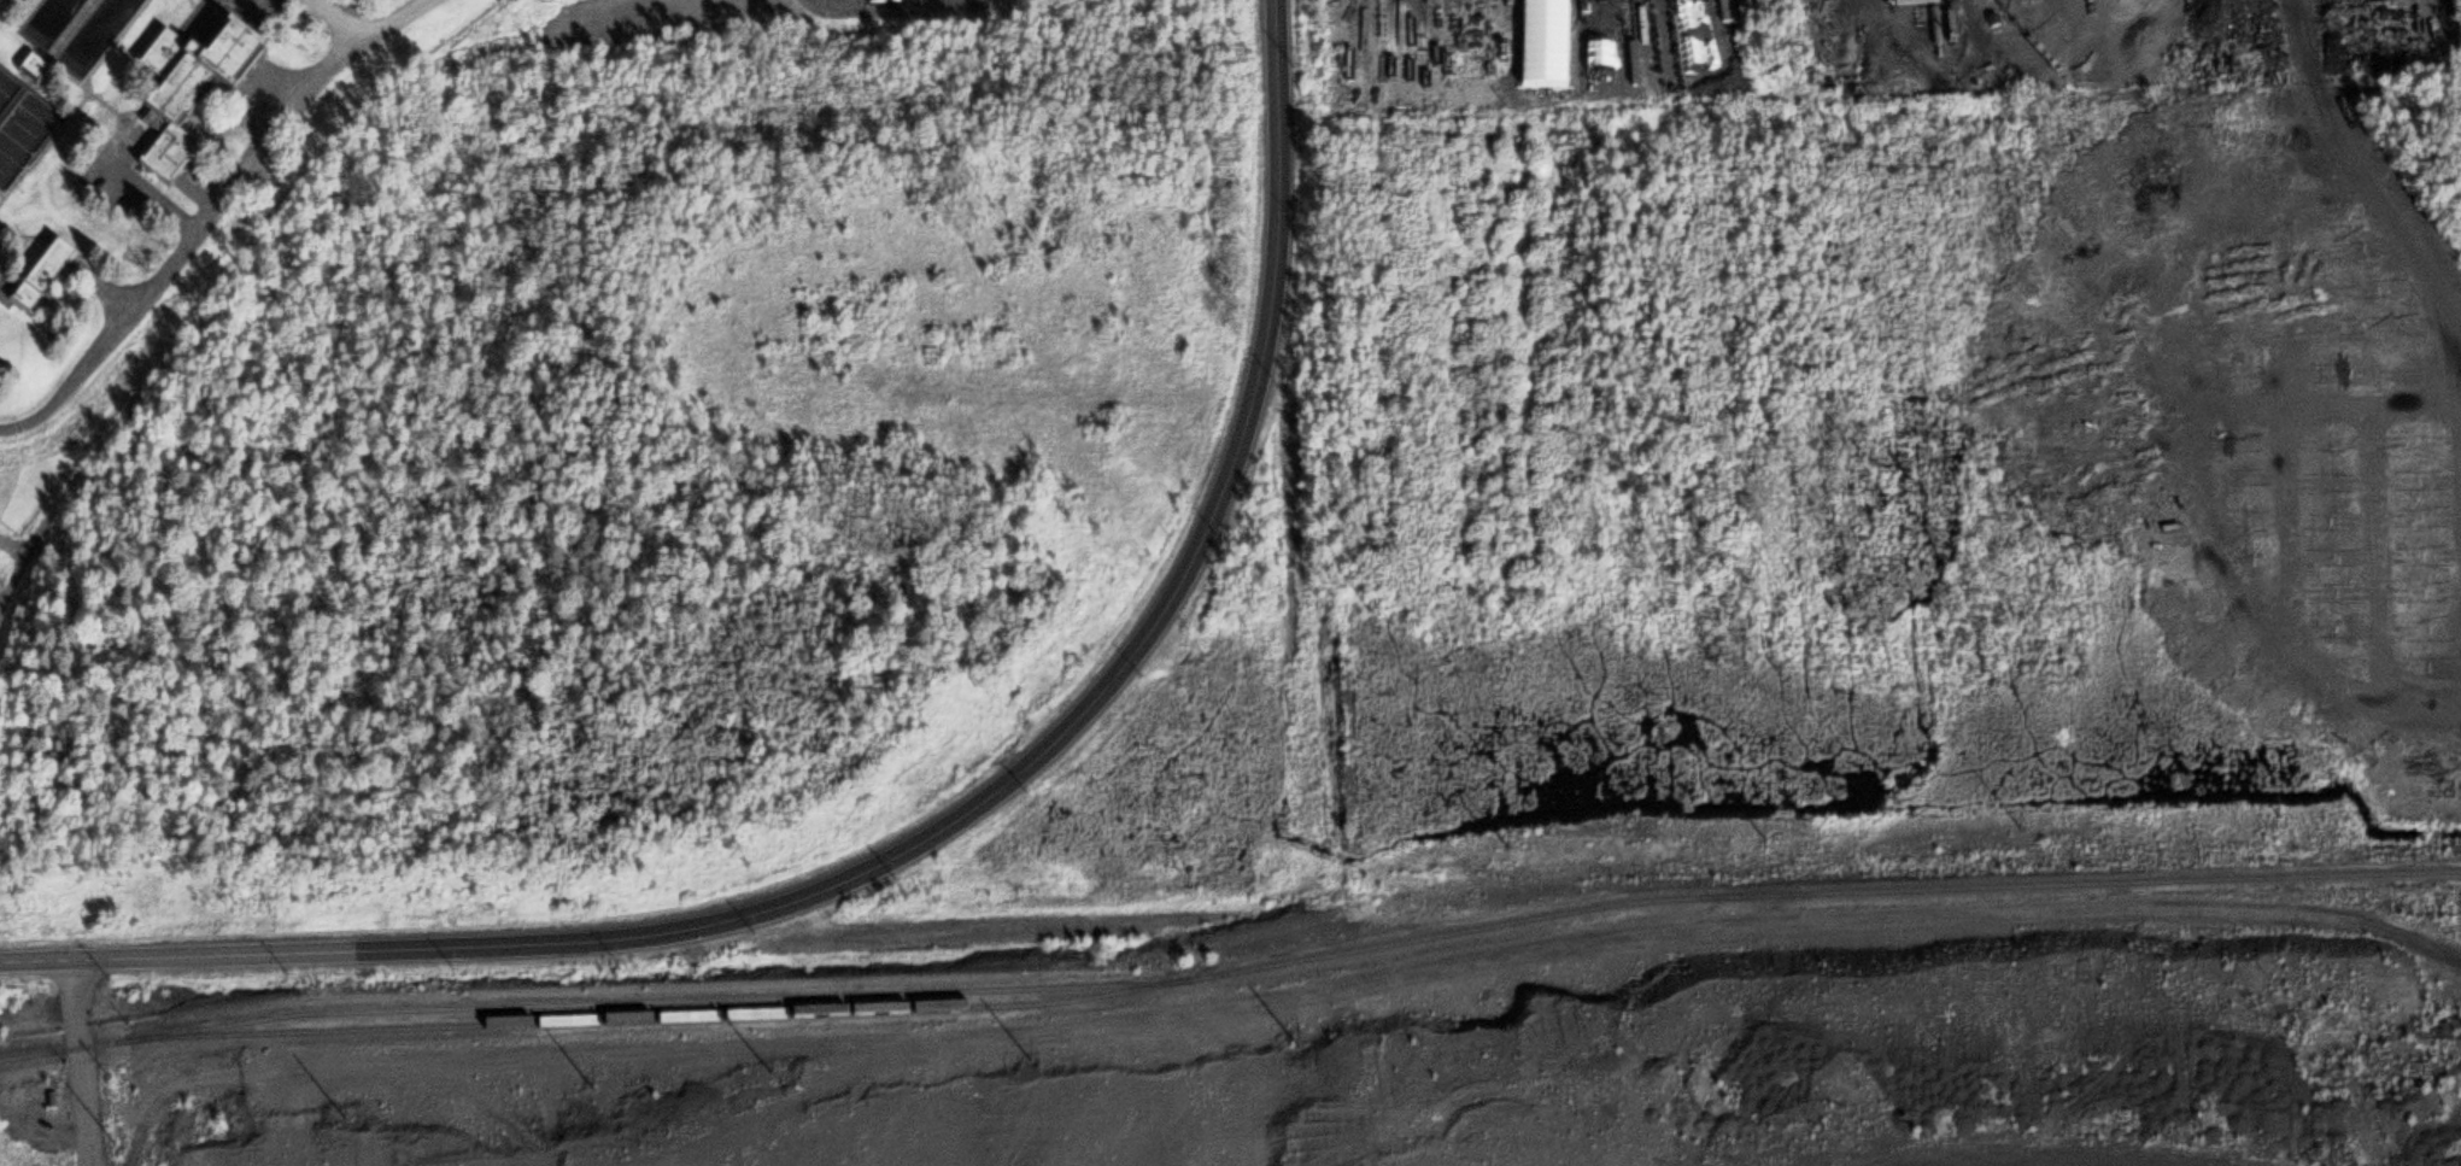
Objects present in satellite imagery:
wastewater plant: (834, 7)
wastewater plant: (151, 159)

